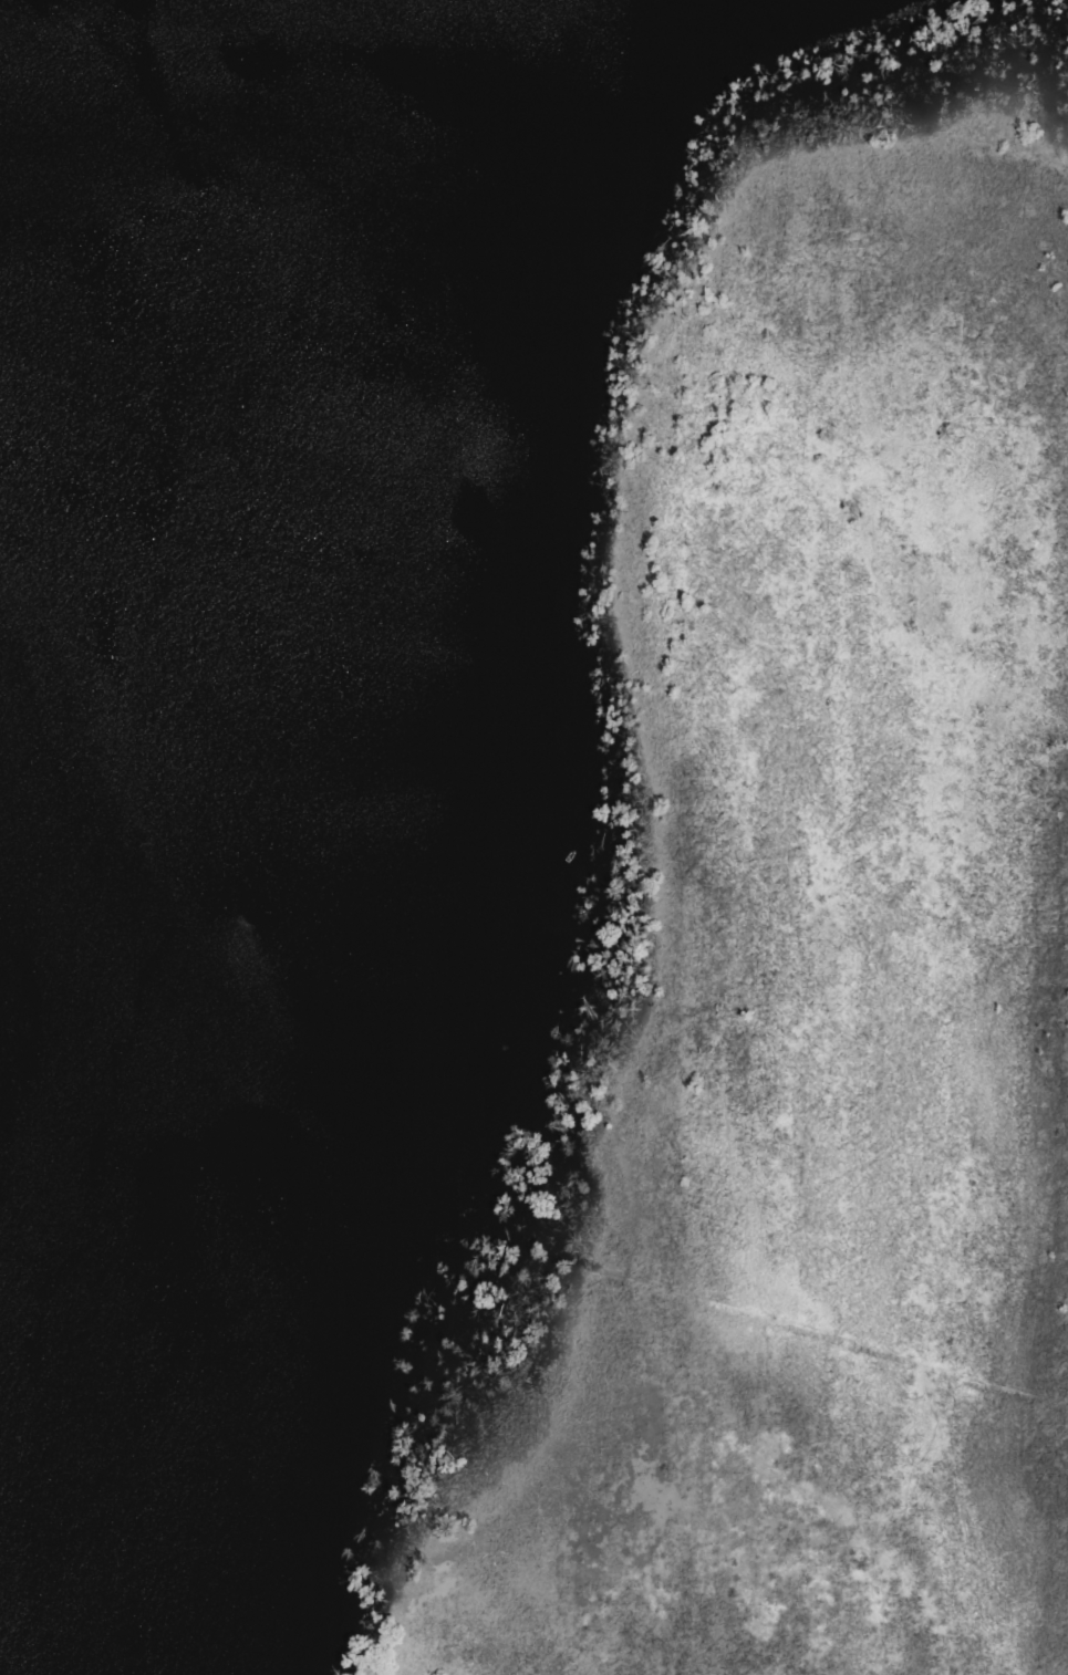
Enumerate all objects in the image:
river: (137, 835)

